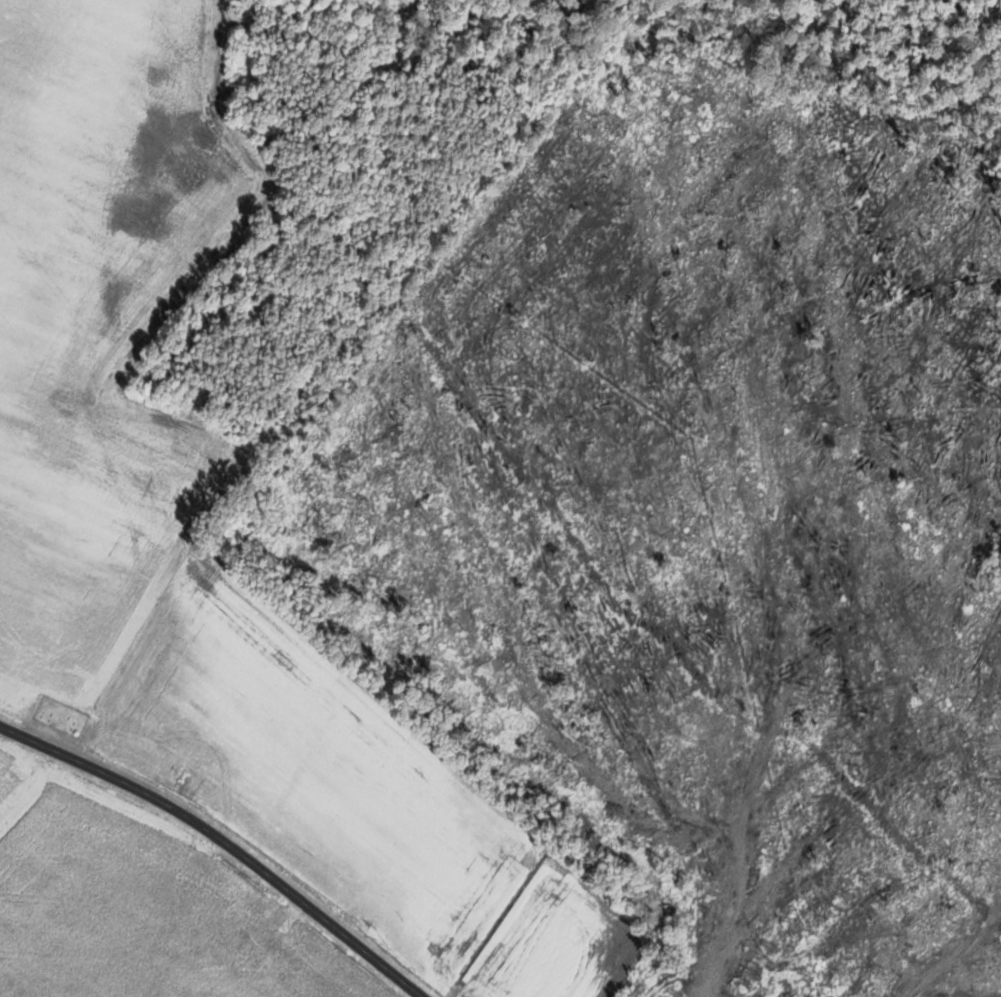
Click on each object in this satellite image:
crop: (68, 159)
crop: (147, 323)
crop: (66, 597)
park: (62, 716)
crop: (7, 756)
crop: (311, 769)
road: (226, 839)
crop: (122, 910)
building: (265, 936)
crop: (556, 943)

